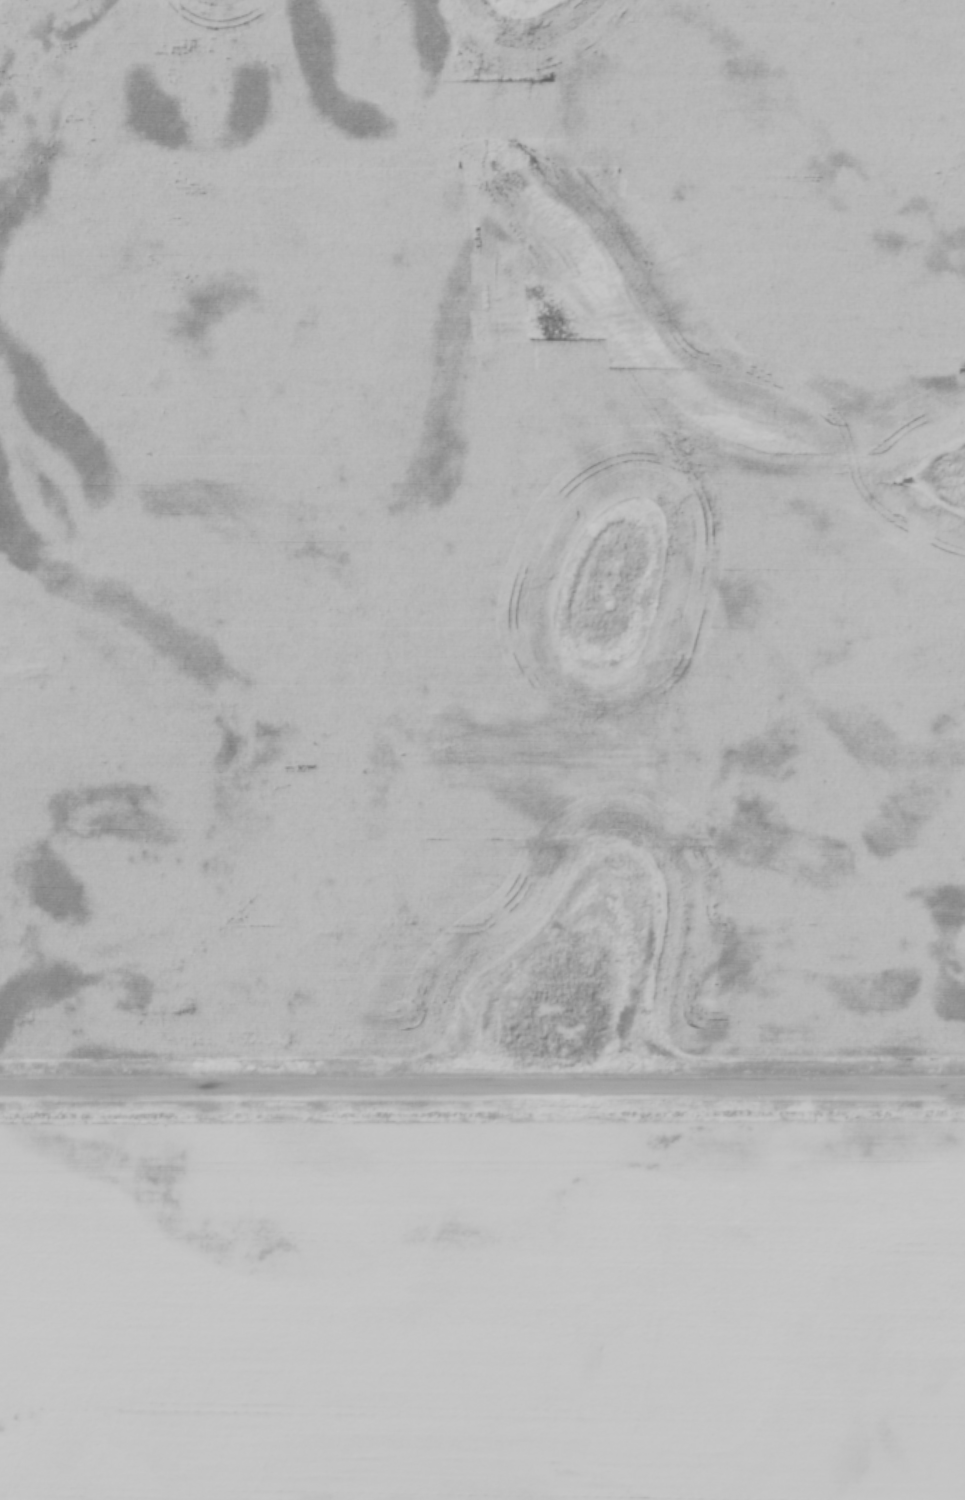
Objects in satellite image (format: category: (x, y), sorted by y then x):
road: (482, 1086)

